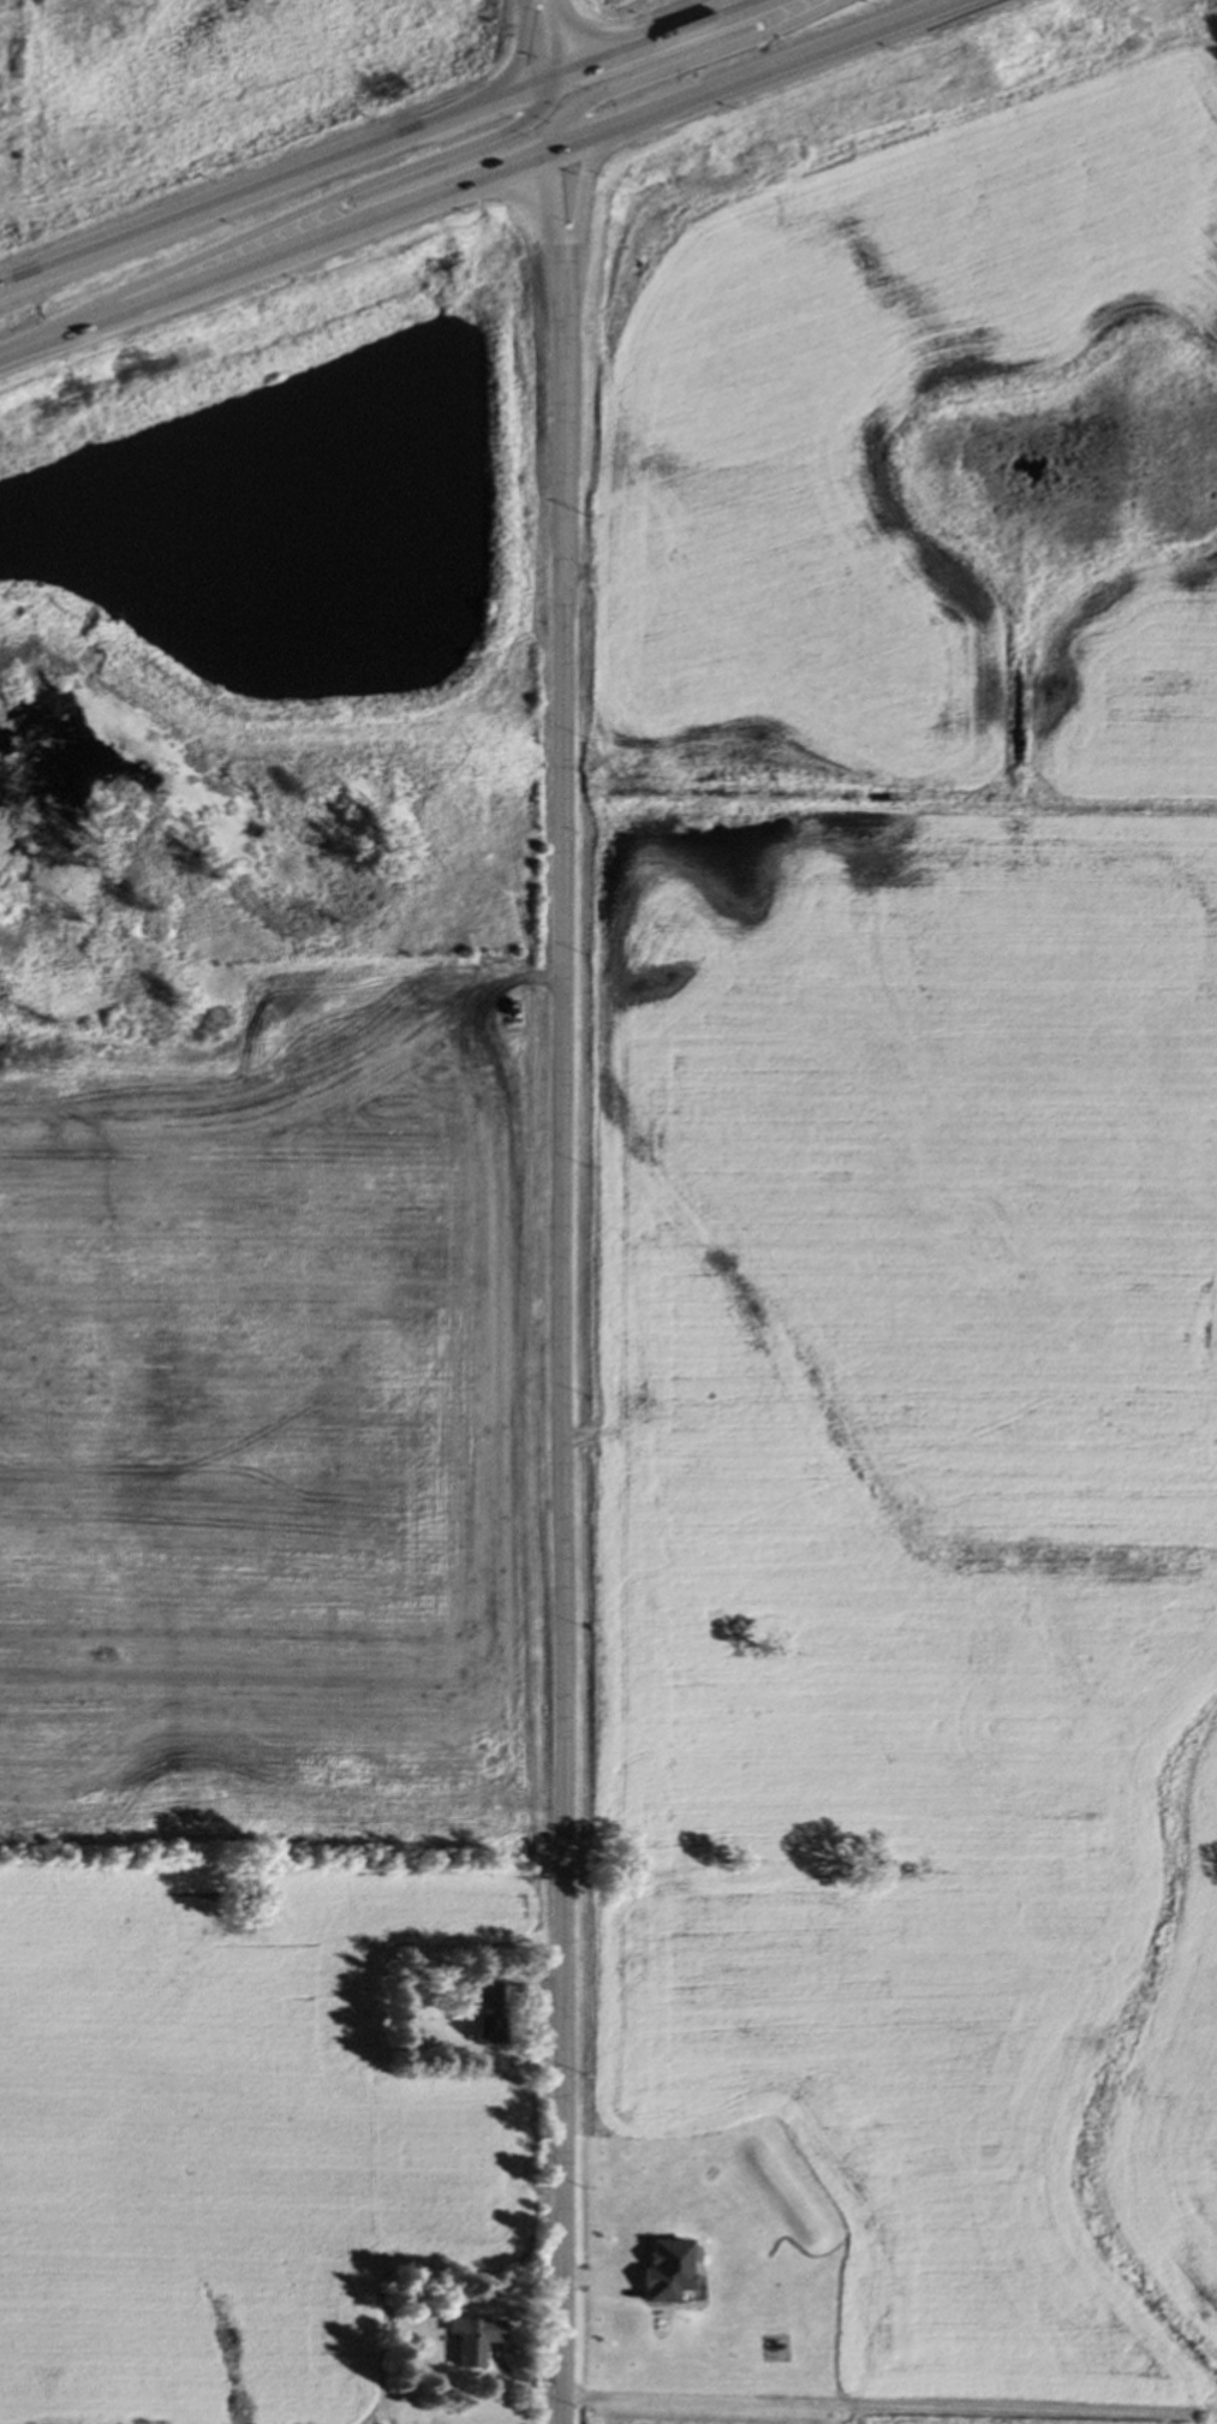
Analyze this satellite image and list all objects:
road: (551, 41)
road: (668, 41)
road: (517, 64)
road: (777, 66)
road: (674, 67)
road: (280, 186)
road: (310, 204)
road: (575, 204)
road: (550, 219)
road: (303, 240)
road: (561, 1353)
road: (889, 2396)

